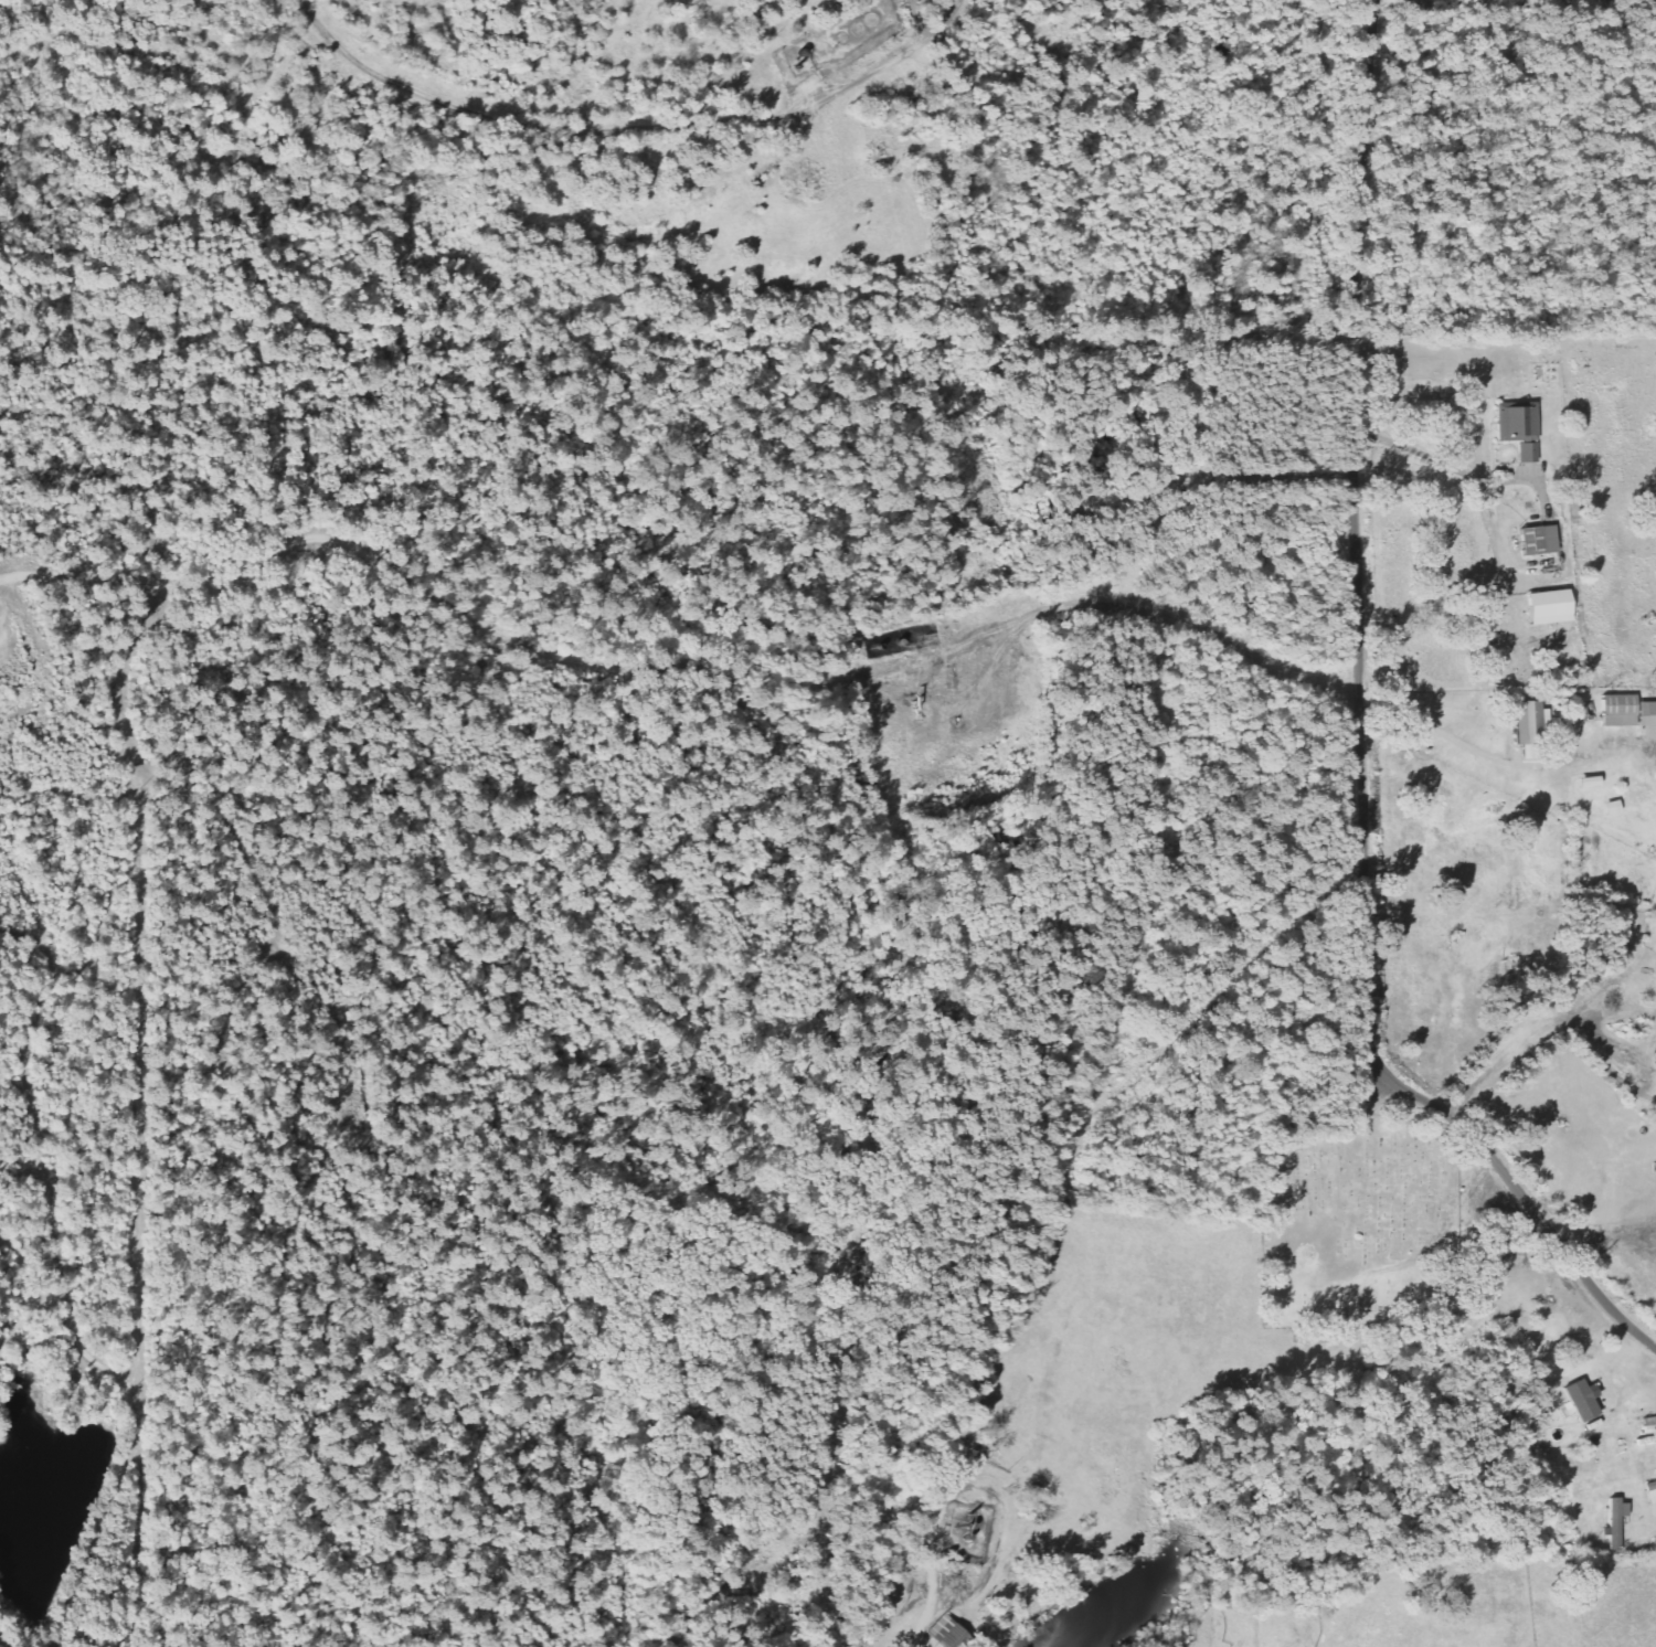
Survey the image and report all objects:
building: (1515, 422)
building: (1526, 453)
building: (1537, 540)
building: (1547, 606)
building: (1617, 710)
building: (1646, 713)
building: (1530, 723)
road: (1360, 732)
building: (1586, 782)
park: (1358, 1221)
building: (1581, 1399)
building: (1650, 1491)
building: (1615, 1520)

